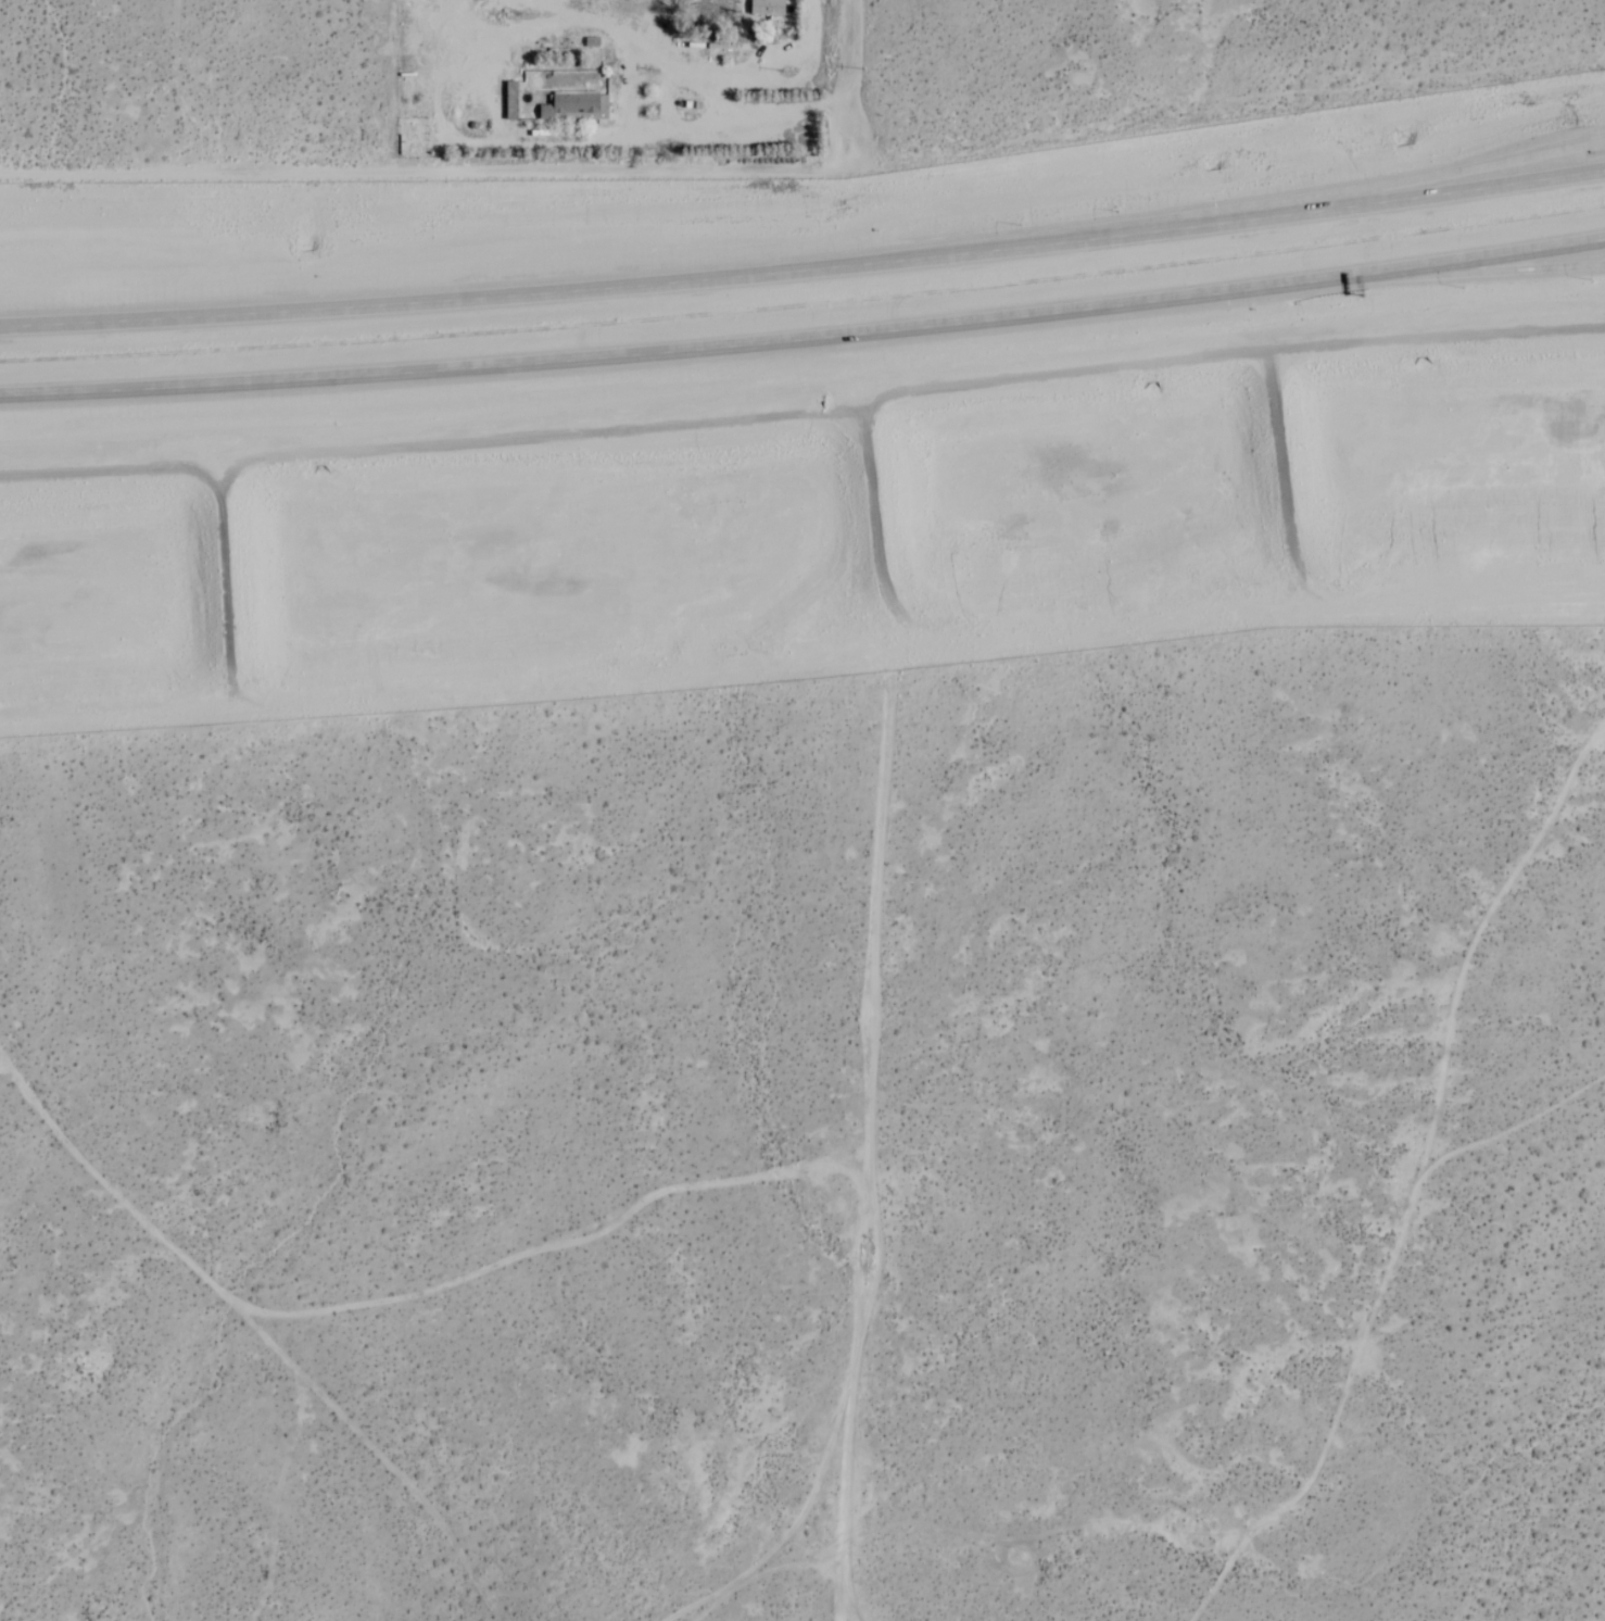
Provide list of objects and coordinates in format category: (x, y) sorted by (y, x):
building: (763, 9)
road: (796, 83)
road: (849, 85)
building: (578, 108)
road: (507, 140)
road: (425, 171)
road: (1377, 185)
road: (1377, 201)
road: (1493, 259)
road: (1493, 271)
road: (574, 290)
road: (692, 350)

